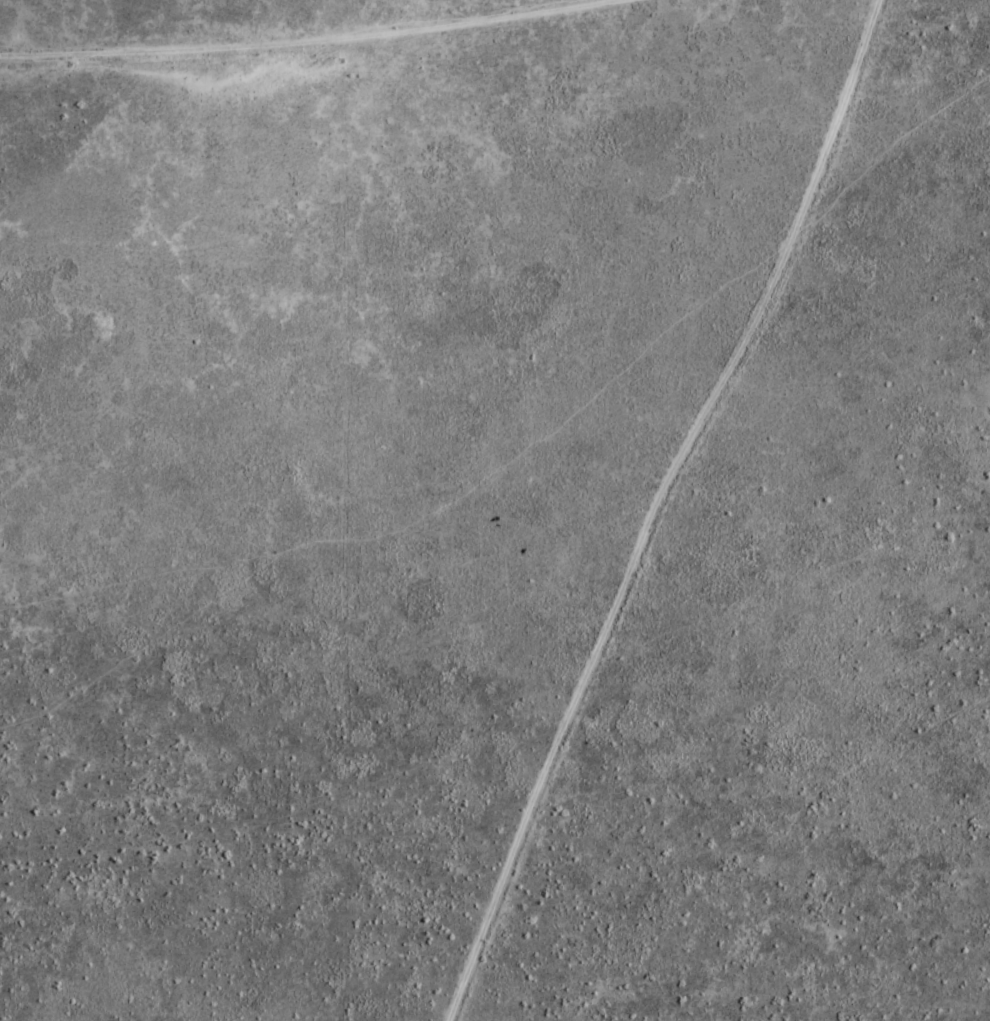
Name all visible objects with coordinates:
road: (200, 12)
road: (636, 502)

